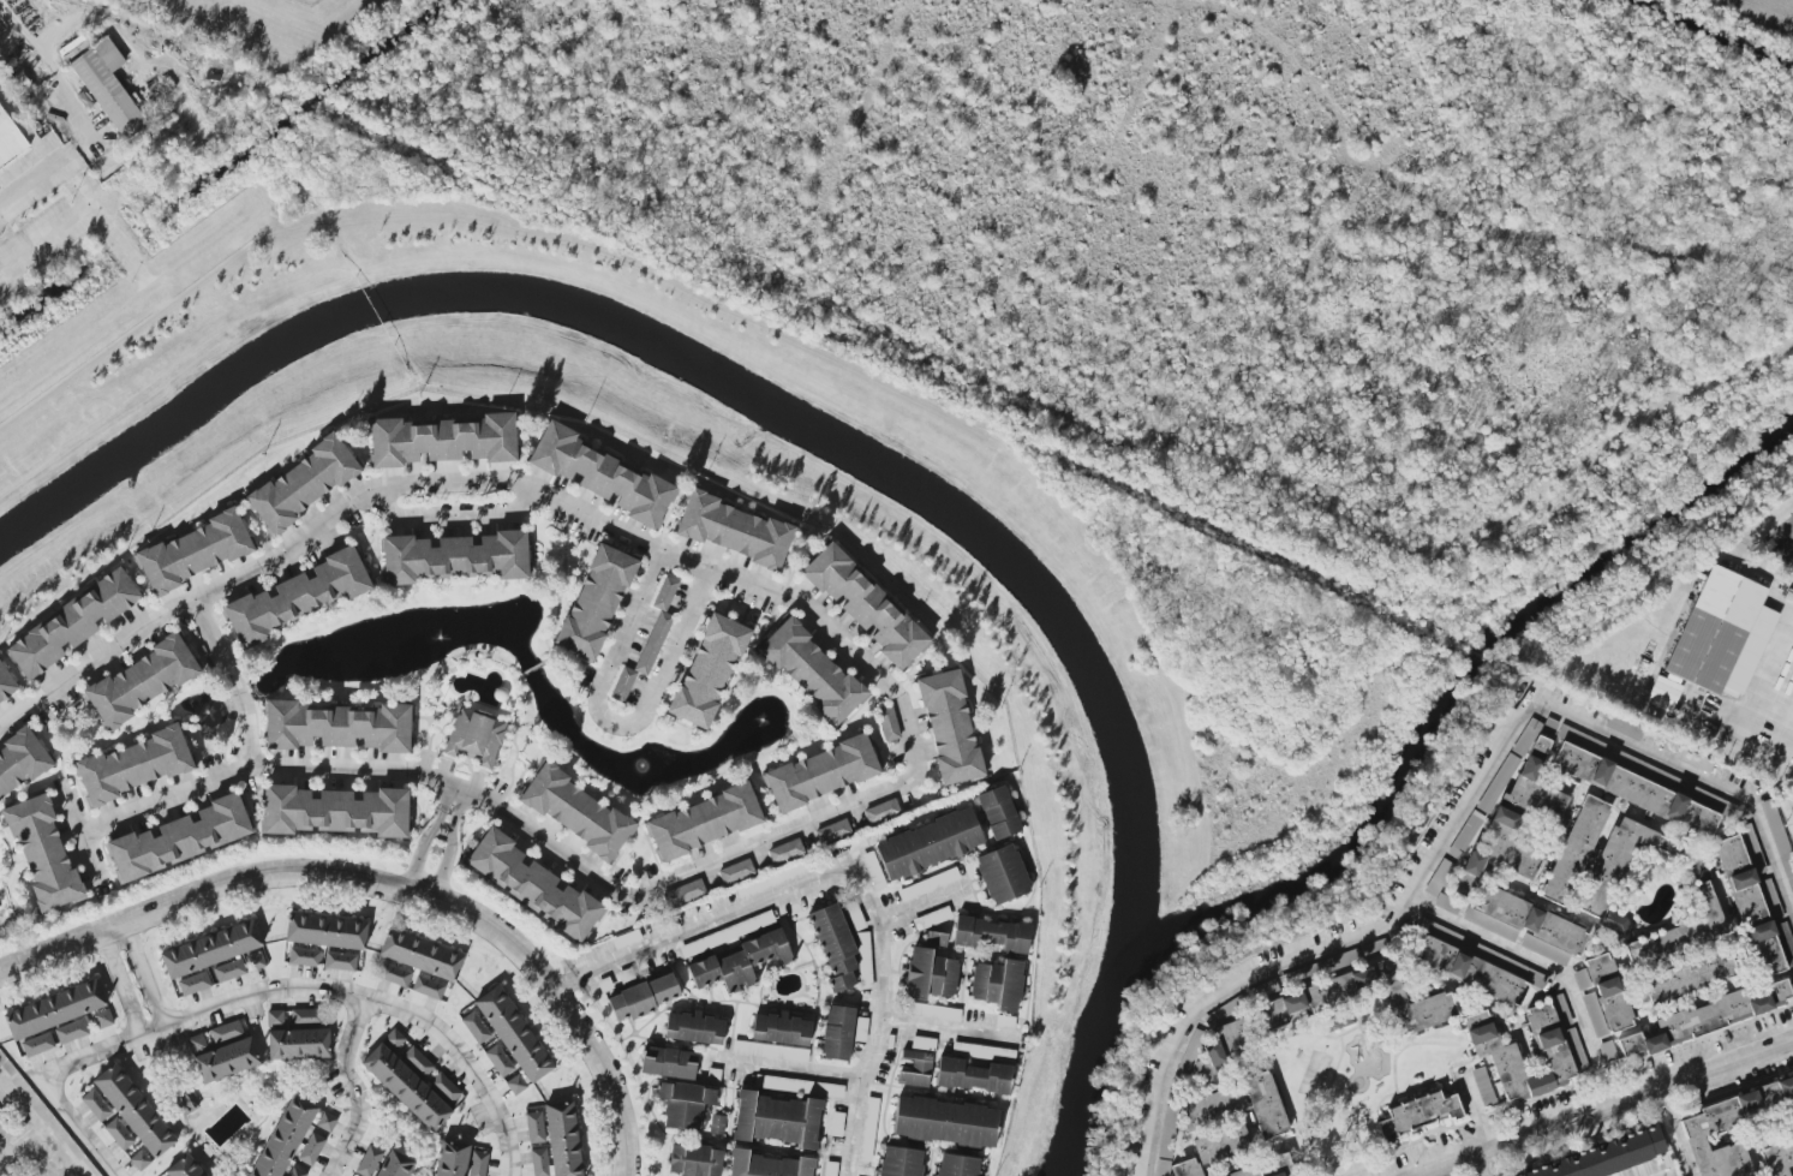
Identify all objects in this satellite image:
building: (109, 88)
road: (73, 108)
building: (10, 142)
road: (43, 168)
road: (68, 220)
building: (442, 440)
building: (602, 476)
building: (303, 484)
road: (452, 518)
building: (733, 530)
road: (1781, 536)
building: (195, 551)
road: (1785, 554)
building: (455, 557)
road: (694, 560)
building: (297, 596)
building: (596, 602)
building: (867, 607)
building: (72, 625)
building: (649, 641)
building: (1705, 652)
theme park: (1707, 653)
building: (709, 670)
building: (812, 671)
road: (1759, 677)
building: (141, 682)
building: (6, 683)
building: (889, 723)
road: (614, 724)
building: (337, 727)
building: (950, 727)
building: (1624, 727)
building: (474, 738)
building: (1583, 741)
road: (1734, 748)
road: (249, 756)
building: (1693, 759)
building: (20, 763)
building: (136, 765)
building: (821, 774)
building: (1504, 774)
road: (458, 782)
building: (1643, 787)
road: (443, 793)
road: (166, 799)
road: (461, 800)
building: (335, 811)
building: (575, 811)
building: (881, 811)
building: (998, 812)
building: (1516, 813)
road: (1456, 820)
building: (704, 822)
building: (833, 831)
building: (1465, 834)
road: (80, 835)
building: (181, 837)
building: (928, 843)
road: (420, 847)
building: (785, 850)
building: (1574, 850)
building: (44, 854)
road: (446, 856)
building: (735, 871)
building: (873, 871)
building: (1614, 872)
building: (1002, 874)
building: (1439, 878)
building: (772, 879)
building: (532, 884)
building: (928, 884)
road: (388, 887)
building: (685, 893)
building: (1752, 899)
road: (921, 902)
building: (1447, 903)
building: (855, 917)
building: (932, 918)
road: (701, 924)
building: (1683, 924)
building: (1528, 926)
building: (333, 931)
building: (728, 933)
building: (992, 933)
building: (936, 938)
building: (627, 939)
building: (1786, 942)
building: (835, 945)
building: (219, 950)
building: (305, 956)
building: (428, 956)
building: (865, 960)
building: (257, 961)
building: (340, 961)
building: (741, 962)
building: (1475, 965)
building: (1321, 967)
road: (1547, 967)
building: (229, 969)
building: (394, 974)
road: (148, 975)
building: (928, 975)
building: (1792, 975)
building: (1690, 977)
building: (195, 984)
building: (998, 984)
road: (121, 986)
building: (428, 987)
building: (1603, 996)
building: (643, 997)
building: (1315, 997)
building: (62, 1009)
building: (934, 1011)
building: (307, 1016)
building: (1710, 1017)
road: (879, 1022)
building: (1005, 1022)
building: (476, 1027)
building: (694, 1027)
building: (781, 1029)
building: (226, 1031)
road: (949, 1031)
road: (150, 1032)
building: (837, 1032)
building: (522, 1035)
building: (1226, 1035)
building: (1196, 1038)
building: (394, 1040)
building: (38, 1044)
building: (197, 1044)
building: (922, 1044)
building: (309, 1045)
building: (1560, 1050)
building: (771, 1051)
building: (1607, 1051)
building: (984, 1052)
building: (234, 1061)
road: (468, 1061)
building: (500, 1061)
building: (418, 1062)
building: (669, 1063)
road: (790, 1067)
building: (916, 1069)
building: (1203, 1070)
building: (974, 1076)
building: (1482, 1081)
building: (516, 1085)
building: (797, 1086)
road: (352, 1088)
building: (417, 1092)
building: (186, 1103)
building: (683, 1104)
building: (97, 1105)
building: (1266, 1105)
building: (1208, 1109)
road: (1598, 1109)
road: (1480, 1110)
building: (145, 1112)
building: (1418, 1115)
building: (776, 1120)
building: (327, 1122)
building: (945, 1122)
road: (42, 1123)
building: (717, 1124)
building: (836, 1124)
building: (4, 1126)
building: (1699, 1126)
building: (869, 1129)
road: (1675, 1132)
building: (573, 1139)
building: (293, 1141)
road: (22, 1144)
building: (1221, 1144)
building: (1167, 1147)
building: (312, 1148)
road: (4, 1150)
building: (1615, 1158)
building: (1776, 1158)
building: (141, 1160)
building: (694, 1160)
building: (369, 1162)
building: (462, 1162)
building: (901, 1162)
road: (1477, 1164)
building: (404, 1165)
building: (767, 1165)
building: (958, 1165)
building: (192, 1169)
building: (831, 1169)
road: (67, 1170)
building: (298, 1171)
building: (1245, 1172)
building: (1278, 1174)

